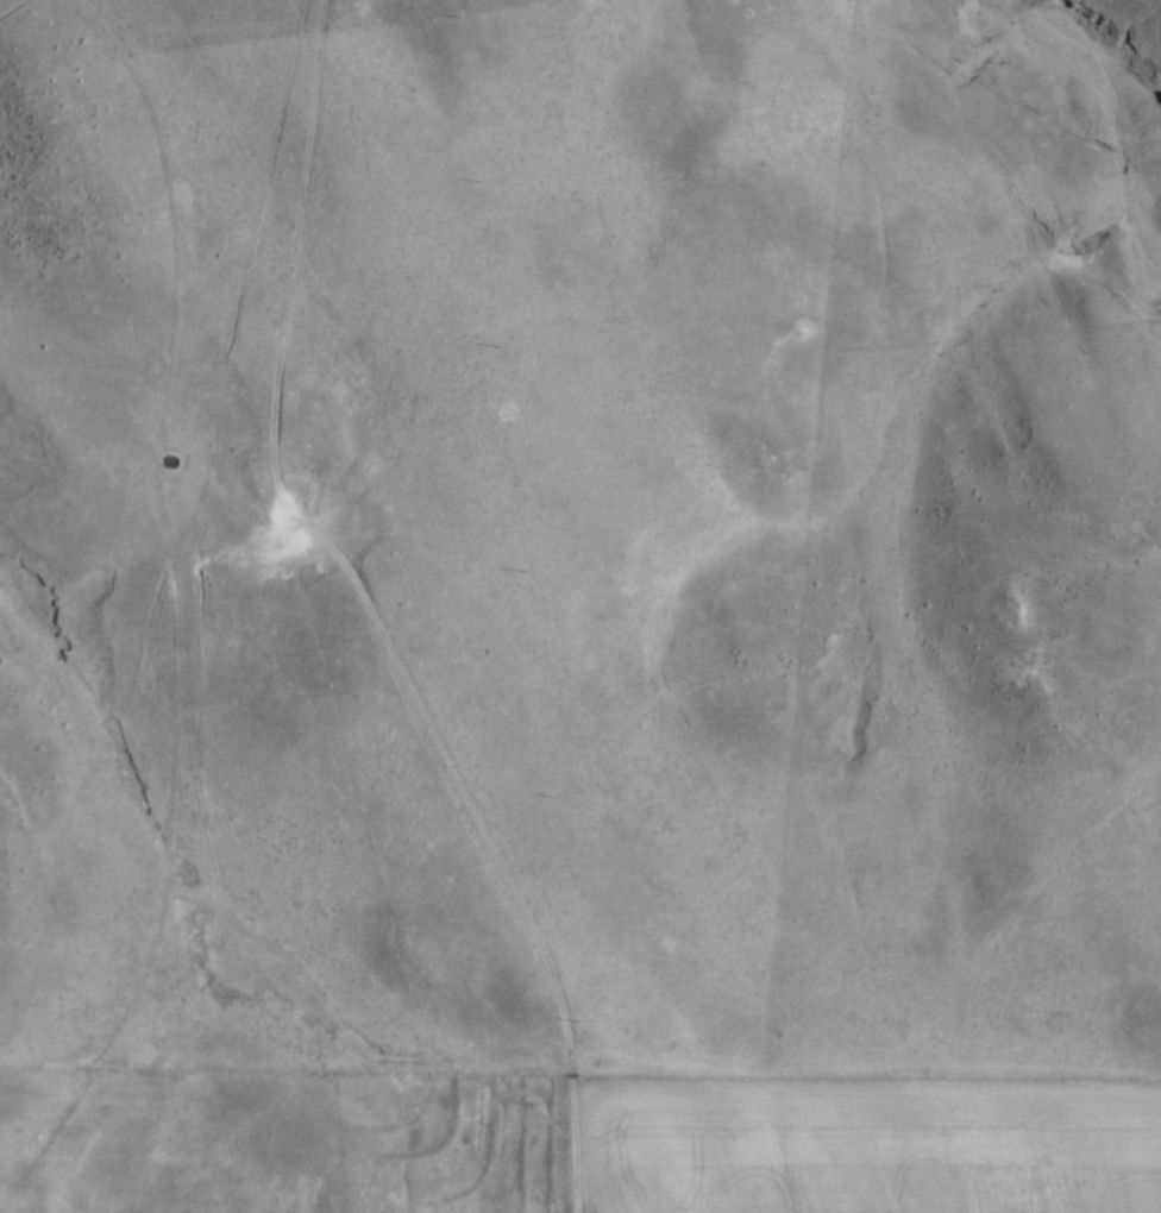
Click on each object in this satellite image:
crop: (870, 1144)

